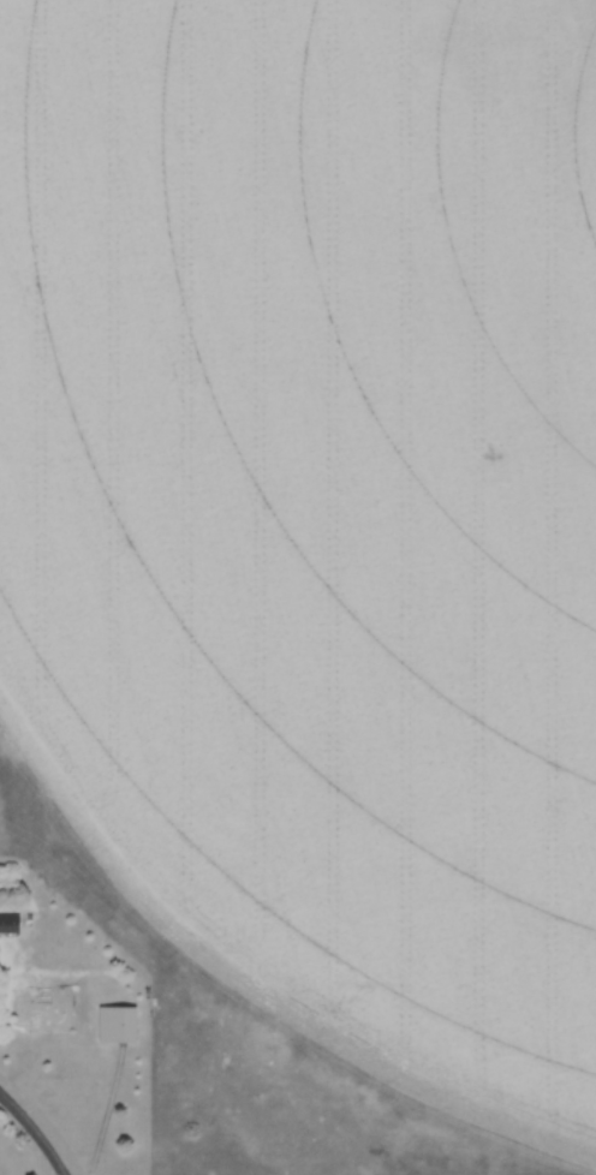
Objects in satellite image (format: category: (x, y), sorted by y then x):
building: (12, 925)

